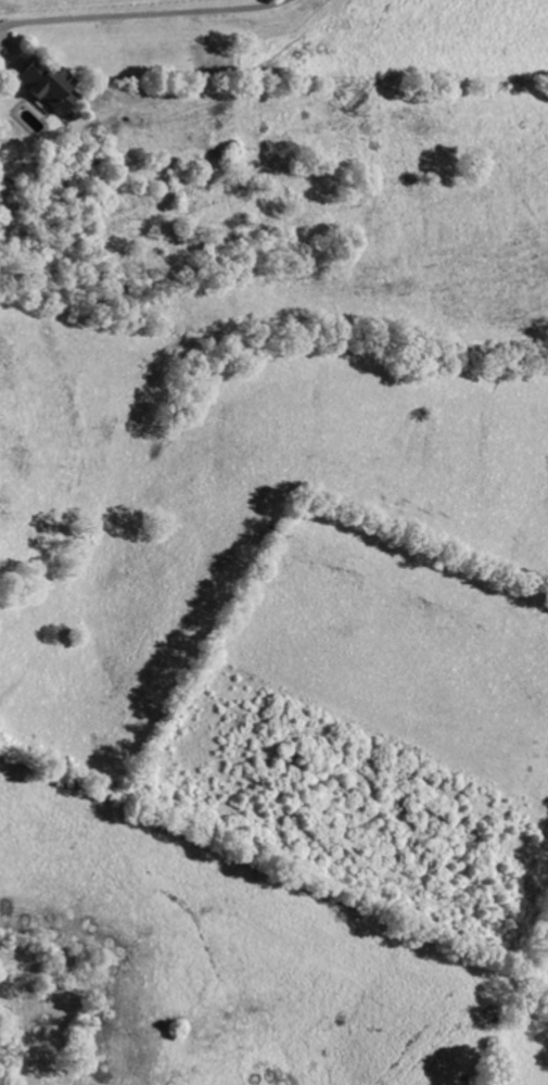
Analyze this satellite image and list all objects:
road: (144, 14)
building: (47, 87)

